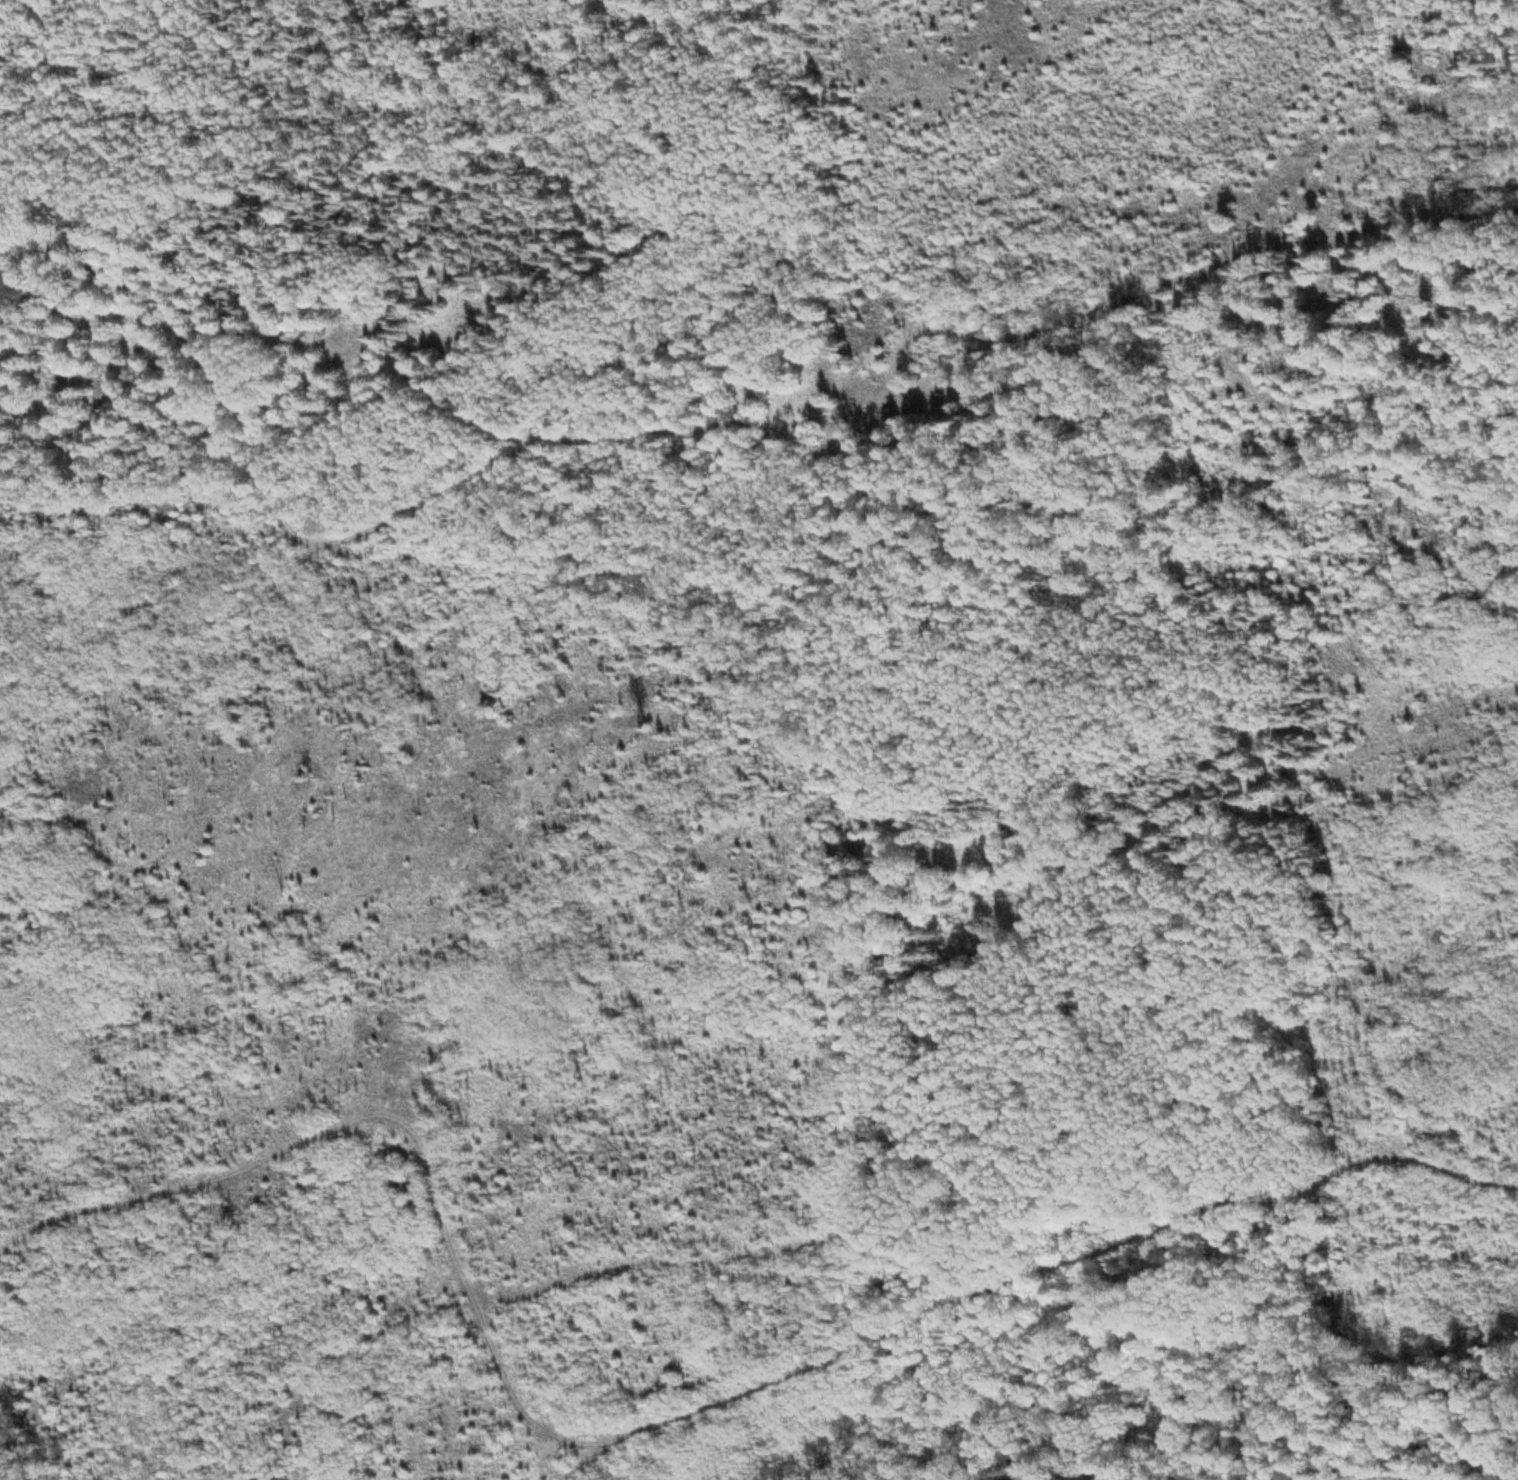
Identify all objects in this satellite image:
road: (711, 421)
road: (667, 1419)

